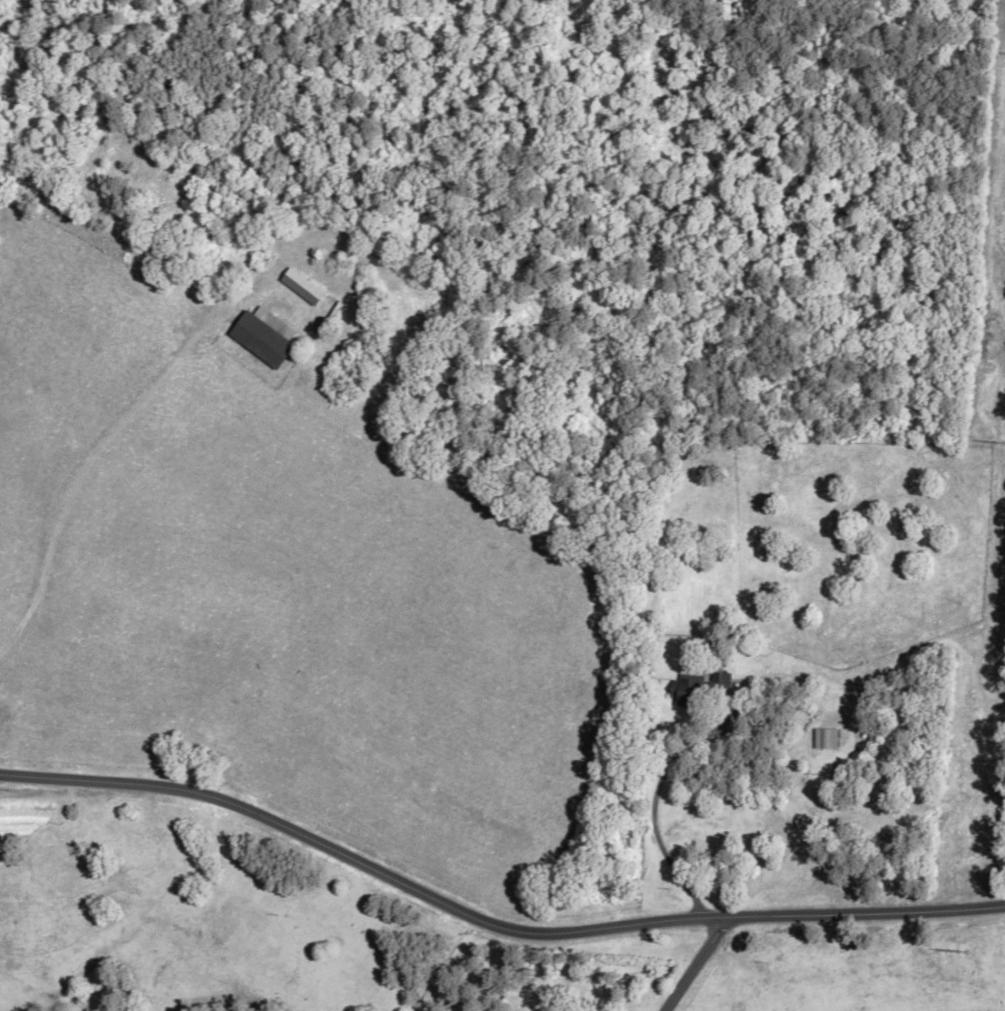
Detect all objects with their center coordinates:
building: (259, 339)
building: (699, 689)
building: (826, 738)
road: (642, 799)
road: (360, 862)
road: (863, 912)
road: (695, 964)

